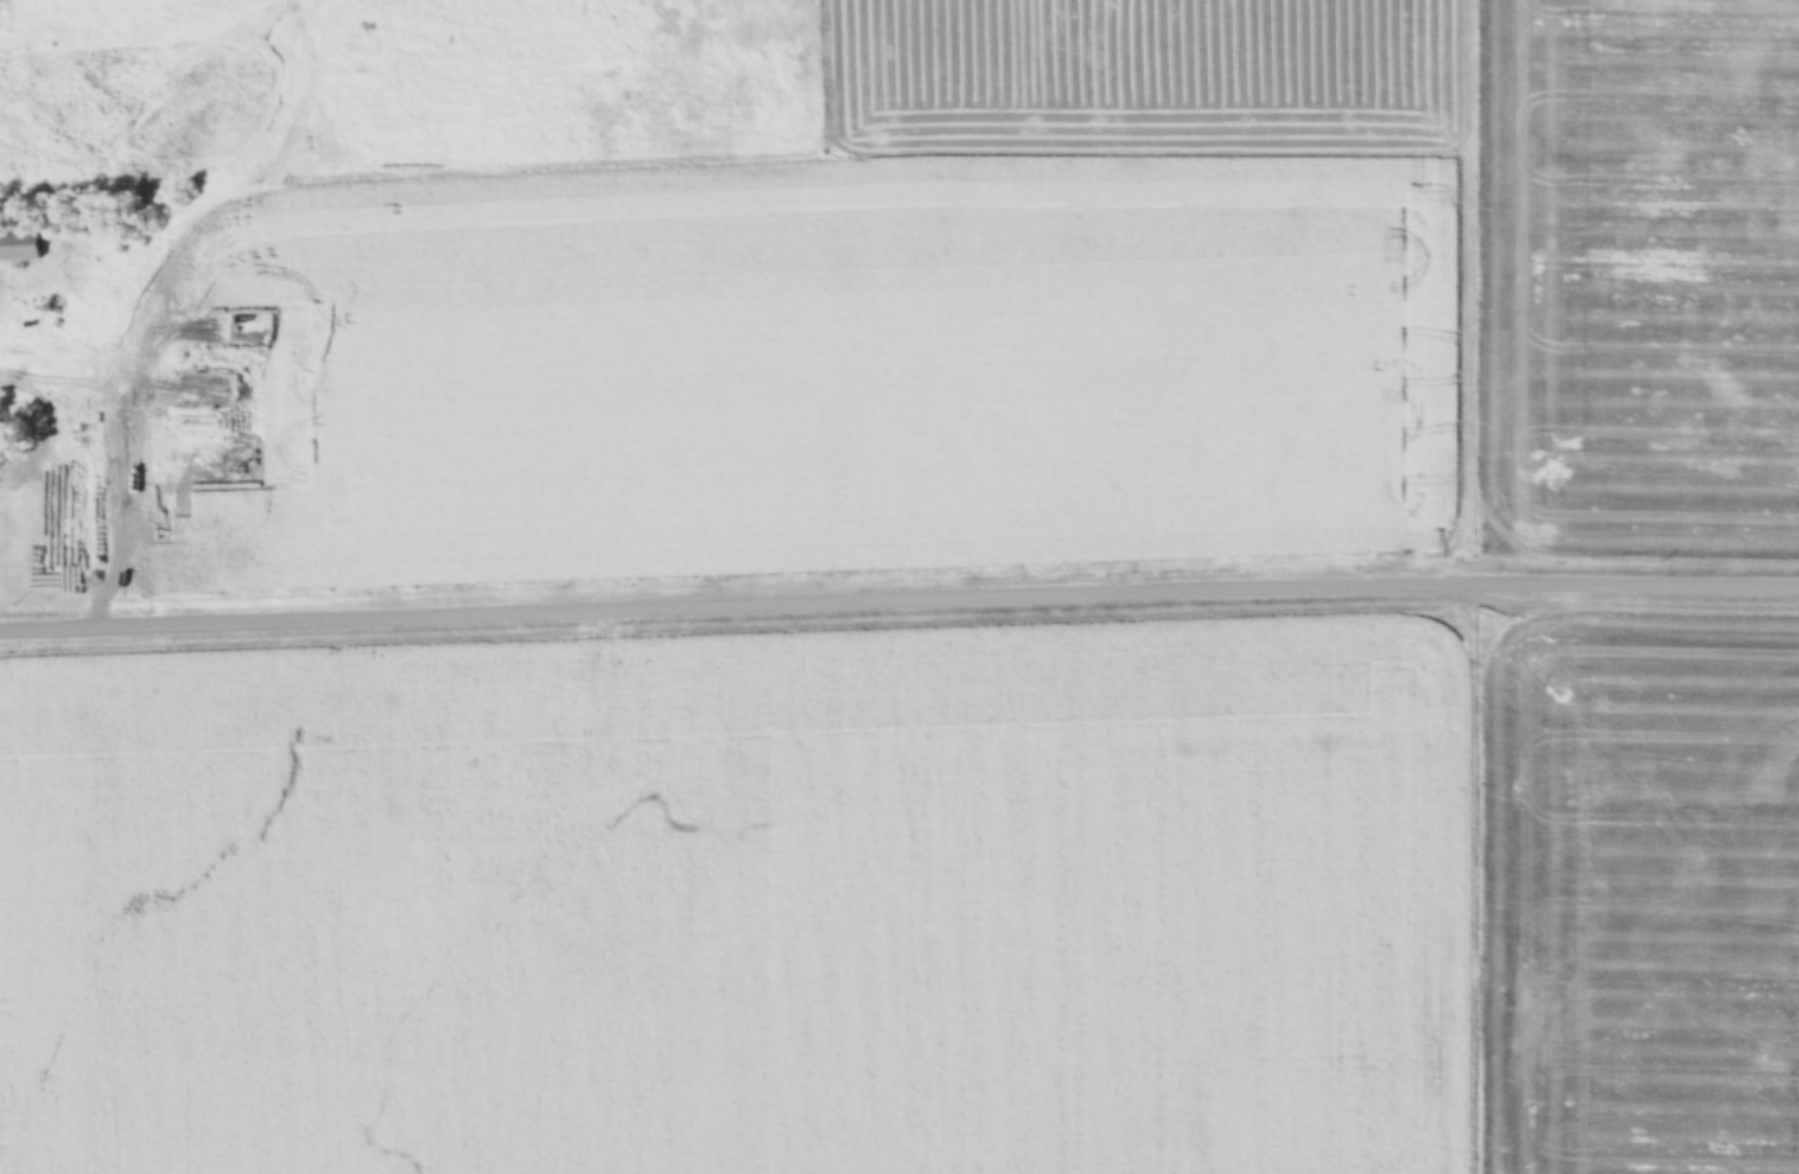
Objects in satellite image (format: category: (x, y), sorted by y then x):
building: (20, 247)
road: (898, 607)

